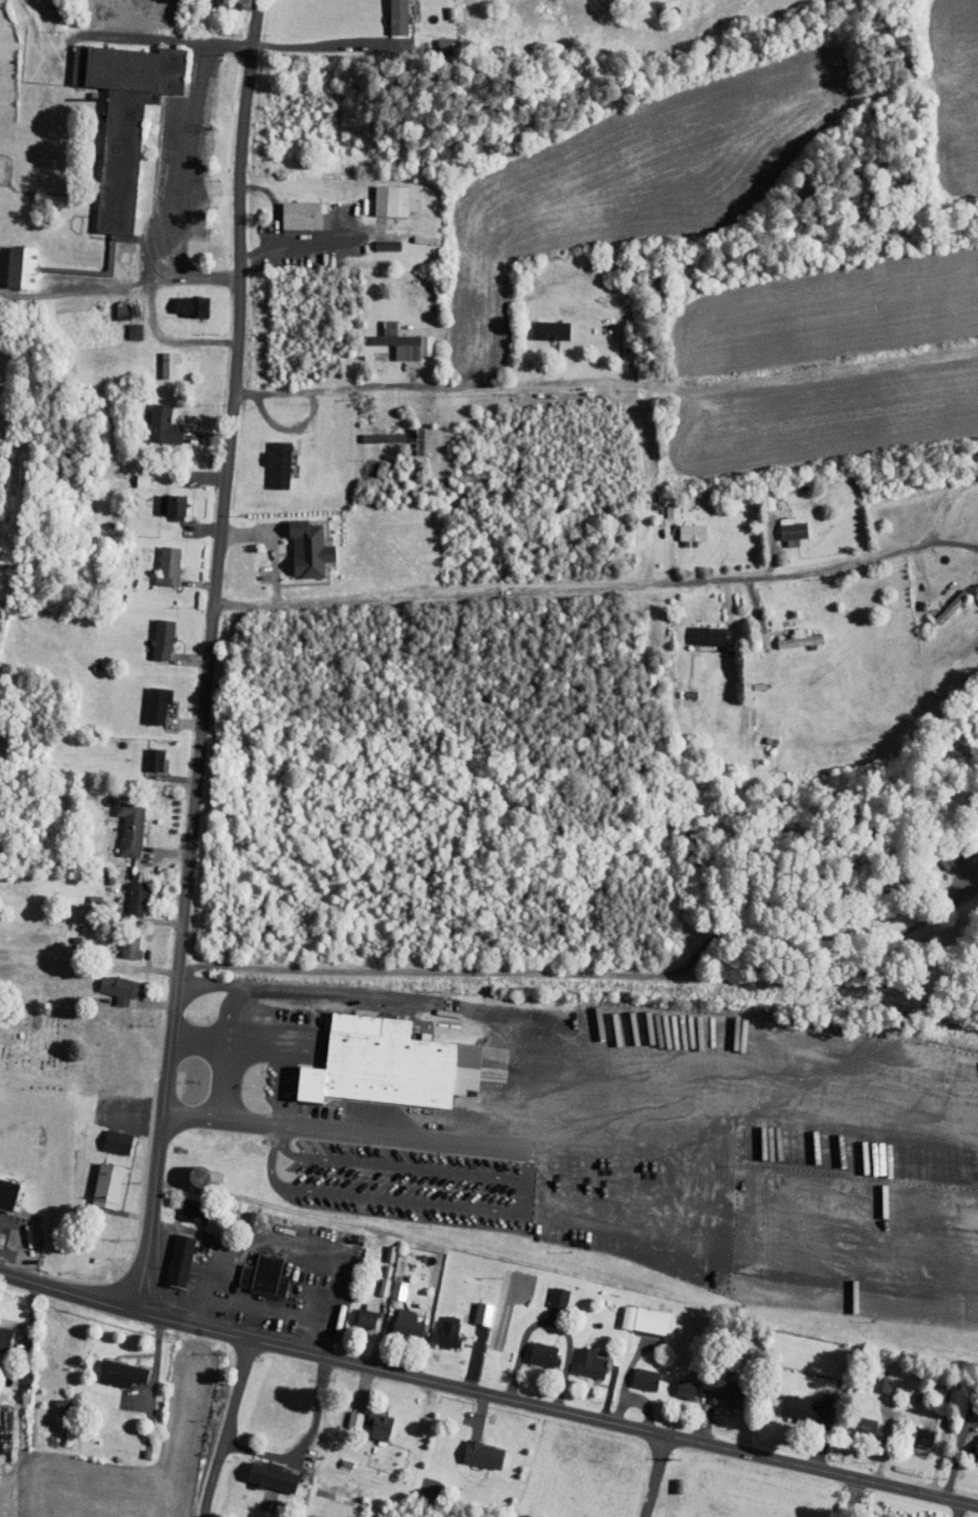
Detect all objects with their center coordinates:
building: (388, 14)
road: (311, 45)
park: (8, 71)
building: (114, 112)
road: (242, 133)
building: (383, 195)
road: (277, 208)
building: (294, 209)
road: (308, 249)
building: (13, 261)
building: (181, 300)
building: (116, 305)
building: (540, 324)
building: (393, 336)
building: (158, 359)
road: (473, 383)
road: (290, 391)
building: (152, 419)
building: (373, 432)
building: (268, 459)
building: (164, 501)
building: (661, 505)
building: (782, 525)
building: (682, 526)
road: (945, 537)
building: (298, 544)
building: (158, 560)
road: (614, 579)
building: (974, 593)
building: (697, 630)
building: (790, 633)
building: (152, 634)
building: (147, 697)
building: (144, 752)
road: (196, 791)
building: (120, 820)
building: (943, 850)
building: (127, 892)
building: (120, 940)
building: (108, 982)
road: (228, 1043)
park: (46, 1048)
road: (255, 1048)
building: (380, 1057)
building: (484, 1060)
road: (532, 1087)
road: (280, 1088)
road: (276, 1131)
building: (106, 1135)
building: (190, 1168)
building: (98, 1179)
building: (2, 1192)
building: (183, 1204)
road: (525, 1212)
building: (170, 1254)
building: (254, 1270)
building: (373, 1280)
building: (387, 1283)
building: (548, 1291)
building: (473, 1307)
building: (355, 1312)
building: (634, 1313)
building: (397, 1317)
building: (438, 1324)
building: (0, 1326)
building: (533, 1348)
building: (580, 1357)
building: (112, 1367)
road: (386, 1370)
building: (635, 1372)
building: (871, 1377)
building: (675, 1383)
building: (725, 1387)
building: (795, 1402)
building: (344, 1414)
building: (367, 1419)
building: (857, 1420)
road: (249, 1430)
building: (912, 1430)
building: (970, 1442)
building: (473, 1448)
road: (808, 1463)
building: (262, 1470)
road: (654, 1476)
road: (739, 1483)
road: (909, 1488)
road: (852, 1496)
road: (960, 1509)

